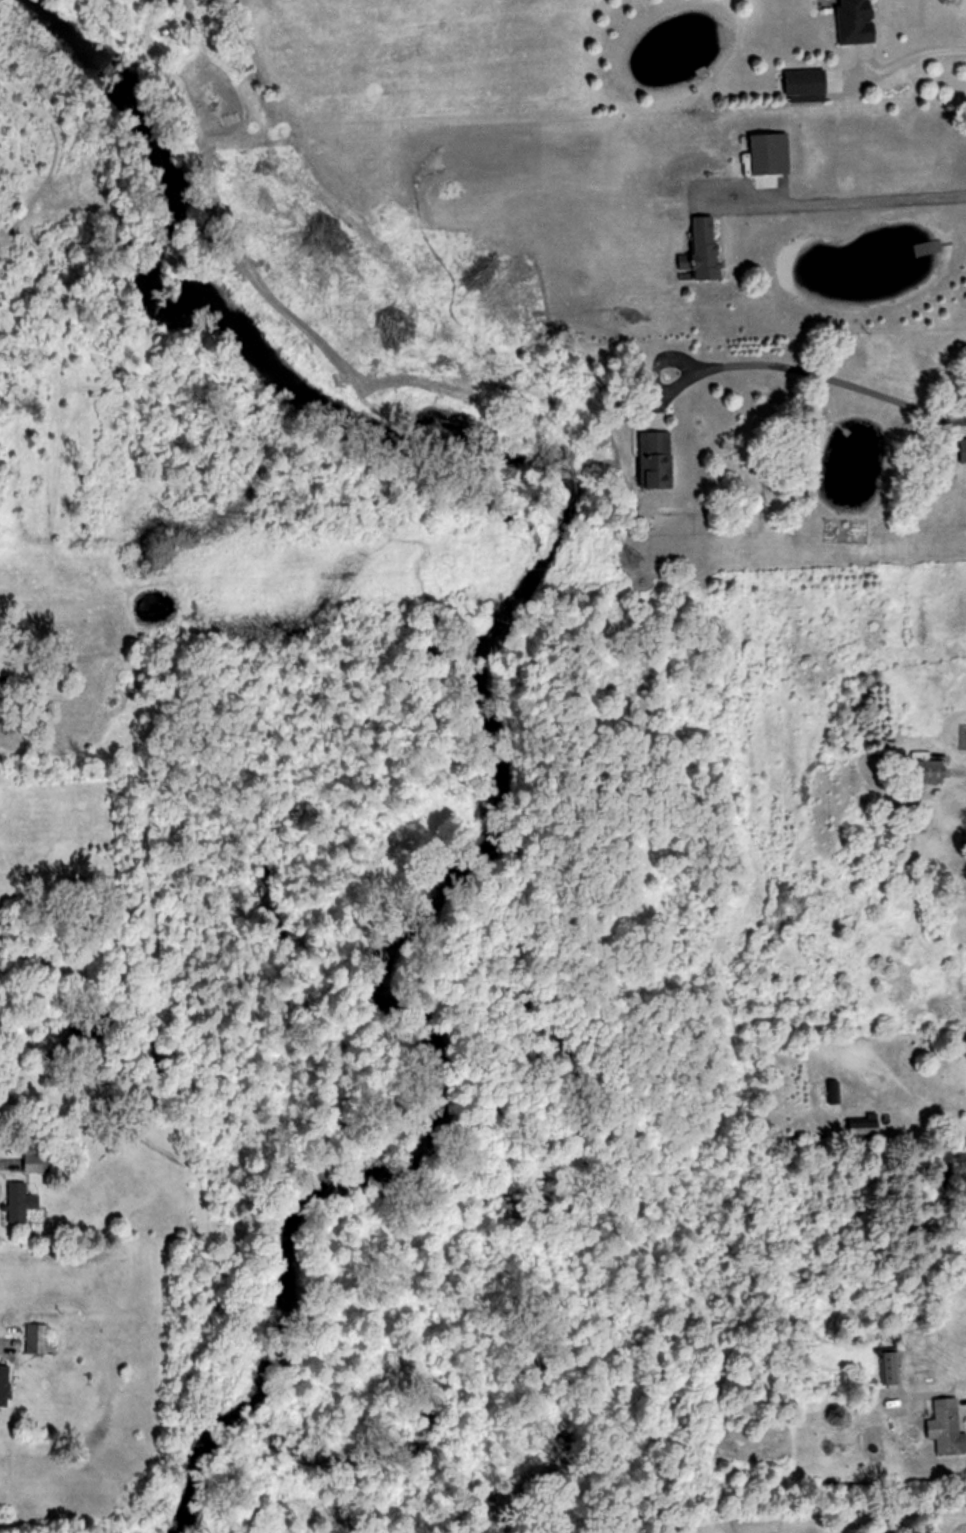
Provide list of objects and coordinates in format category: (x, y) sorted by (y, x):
building: (857, 21)
road: (907, 61)
building: (807, 83)
building: (767, 156)
road: (850, 203)
building: (706, 249)
road: (820, 381)
building: (963, 450)
building: (656, 460)
power tower: (636, 560)
building: (927, 769)
building: (862, 1130)
building: (37, 1163)
road: (8, 1167)
building: (20, 1202)
building: (37, 1338)
road: (3, 1344)
building: (889, 1368)
building: (5, 1386)
building: (946, 1428)
road: (856, 1513)

